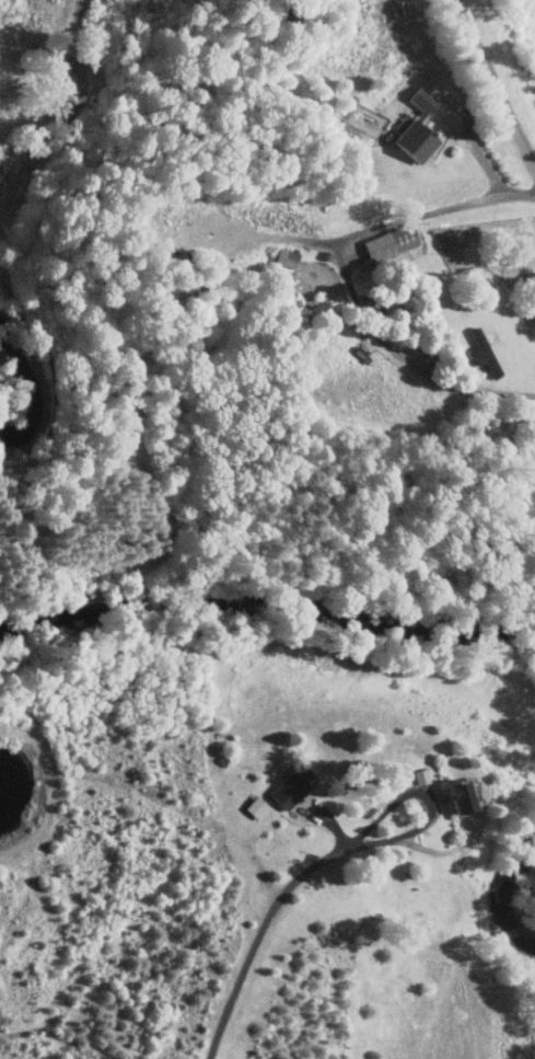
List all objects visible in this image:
road: (497, 84)
building: (415, 126)
road: (411, 219)
building: (388, 241)
building: (284, 256)
building: (481, 352)
road: (488, 392)
building: (290, 786)
building: (456, 795)
road: (428, 802)
building: (255, 806)
road: (258, 936)

